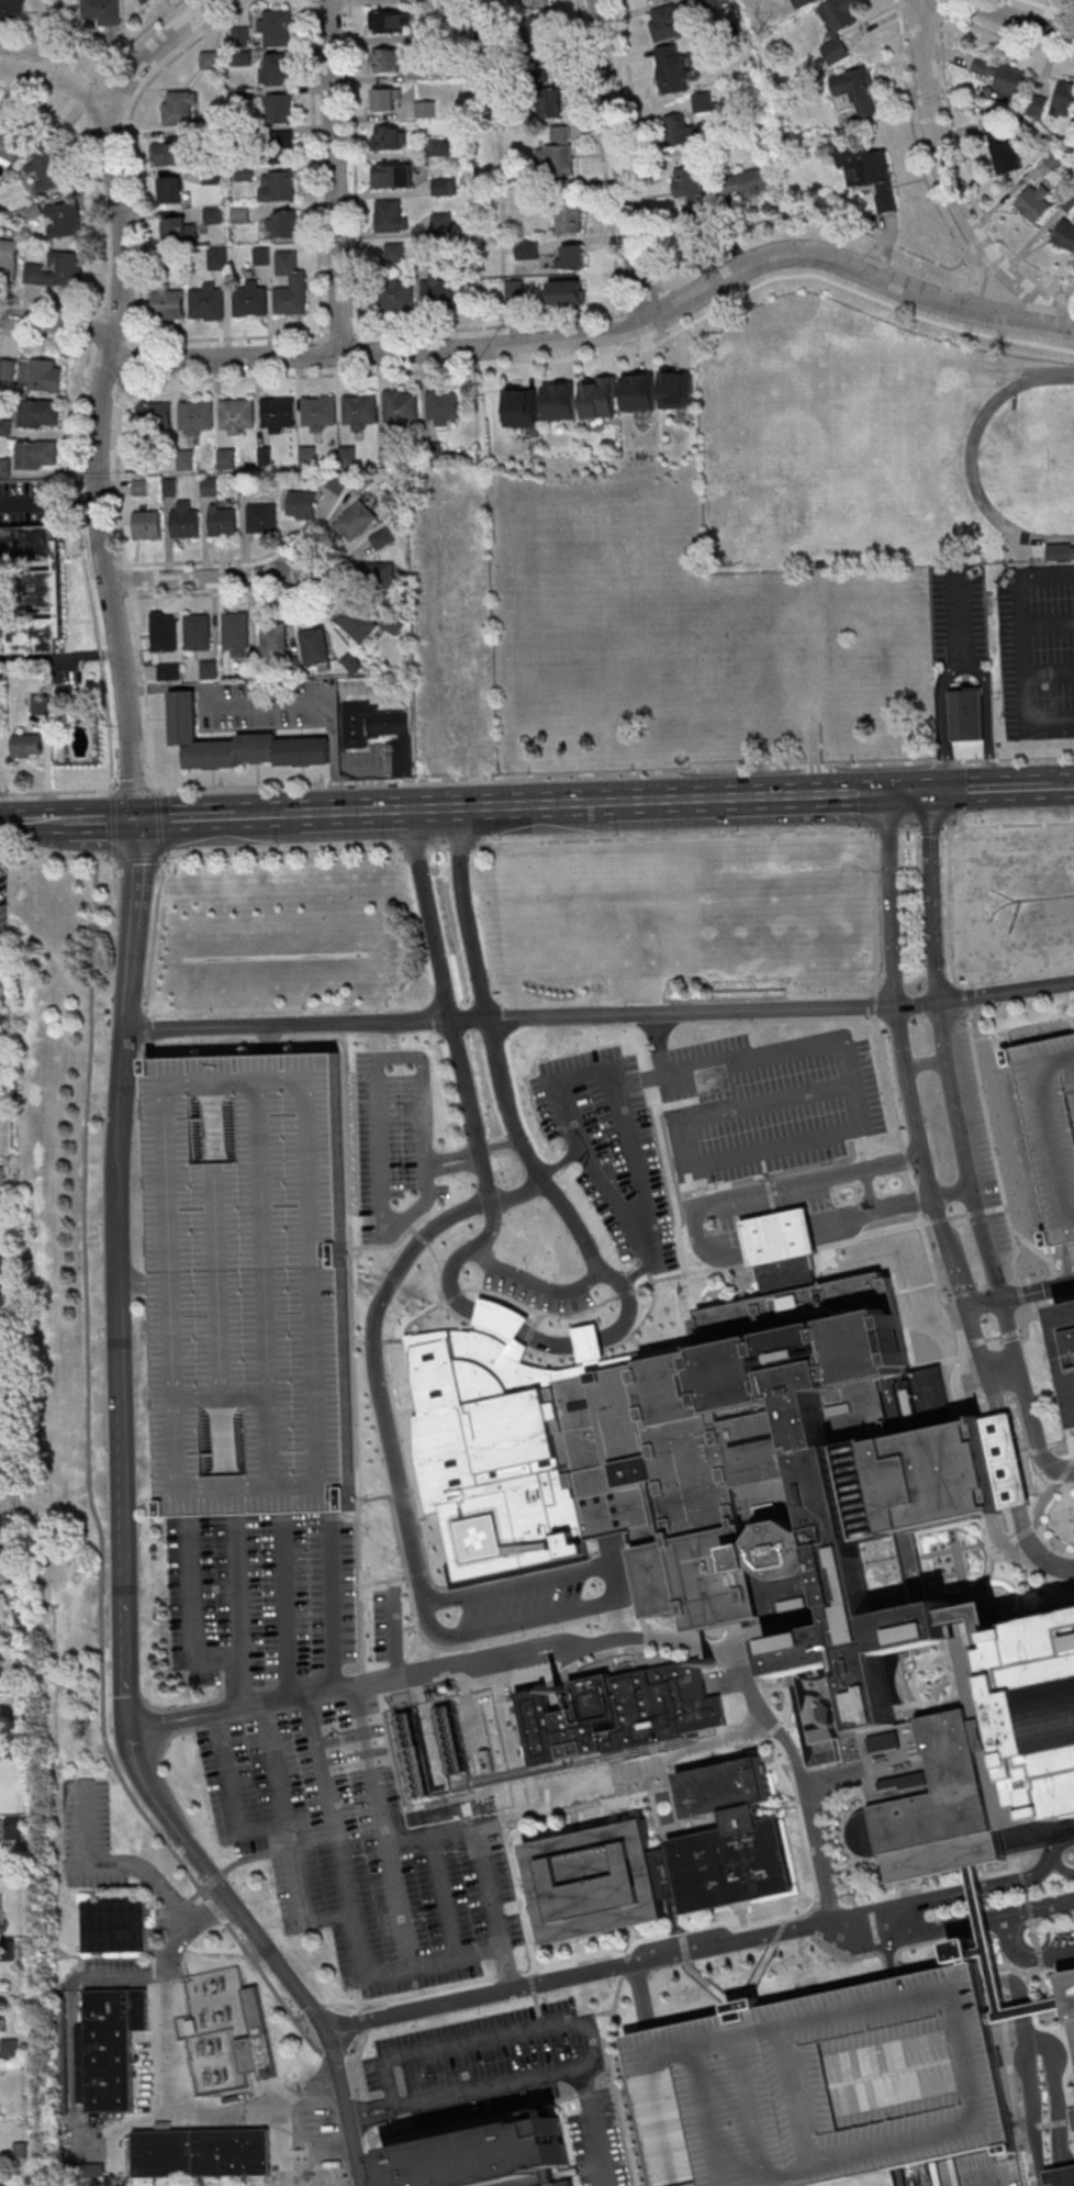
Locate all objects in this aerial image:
building: (146, 1)
building: (537, 2)
building: (801, 2)
building: (102, 12)
building: (13, 13)
road: (1018, 16)
building: (670, 21)
building: (390, 22)
building: (838, 25)
road: (974, 25)
building: (277, 29)
building: (539, 37)
road: (55, 41)
road: (158, 48)
road: (99, 53)
building: (388, 60)
road: (88, 66)
building: (278, 69)
building: (672, 69)
building: (422, 75)
building: (1003, 76)
road: (55, 80)
road: (77, 89)
building: (857, 90)
building: (546, 98)
building: (1065, 99)
building: (388, 100)
building: (703, 102)
building: (1038, 105)
road: (65, 108)
building: (180, 109)
building: (279, 109)
building: (681, 132)
building: (390, 137)
building: (13, 140)
building: (1002, 144)
building: (281, 145)
building: (438, 148)
building: (168, 154)
building: (558, 154)
road: (603, 158)
building: (1056, 158)
road: (622, 160)
road: (314, 167)
building: (46, 168)
building: (870, 172)
road: (337, 175)
building: (394, 177)
road: (93, 179)
road: (952, 182)
building: (687, 183)
building: (746, 185)
building: (278, 187)
building: (445, 187)
building: (172, 191)
building: (562, 191)
road: (982, 203)
building: (1037, 203)
building: (213, 215)
building: (391, 216)
building: (693, 216)
building: (570, 219)
building: (64, 220)
building: (443, 223)
building: (287, 224)
building: (180, 230)
road: (122, 233)
building: (1065, 235)
building: (527, 249)
building: (424, 250)
building: (395, 253)
building: (262, 255)
road: (143, 256)
building: (573, 258)
building: (9, 259)
building: (217, 259)
building: (172, 260)
building: (57, 270)
road: (981, 285)
building: (291, 286)
building: (516, 289)
building: (568, 292)
building: (396, 293)
building: (439, 293)
building: (251, 300)
building: (208, 302)
building: (168, 303)
road: (56, 325)
road: (93, 330)
road: (379, 331)
road: (607, 335)
building: (10, 373)
building: (45, 377)
building: (680, 390)
building: (641, 393)
building: (601, 398)
building: (562, 402)
building: (402, 408)
building: (524, 408)
building: (444, 409)
building: (360, 410)
building: (320, 412)
building: (40, 413)
building: (155, 415)
building: (237, 415)
building: (279, 415)
building: (197, 416)
building: (4, 427)
road: (77, 447)
road: (967, 453)
building: (37, 455)
park: (1061, 457)
building: (4, 469)
road: (99, 472)
building: (471, 476)
building: (339, 483)
building: (363, 484)
road: (49, 504)
building: (303, 505)
road: (63, 528)
road: (297, 555)
road: (337, 571)
road: (88, 577)
road: (197, 578)
road: (130, 580)
building: (34, 590)
parking lot: (961, 617)
road: (1050, 621)
road: (964, 622)
road: (1027, 625)
road: (71, 639)
parking lot: (1038, 653)
road: (60, 658)
road: (1051, 672)
road: (105, 689)
road: (147, 692)
road: (127, 700)
road: (273, 706)
road: (948, 720)
road: (988, 720)
road: (1052, 721)
road: (536, 776)
road: (961, 787)
road: (991, 788)
traffic signals: (908, 791)
road: (757, 796)
road: (523, 805)
road: (367, 811)
road: (265, 813)
road: (221, 814)
road: (170, 815)
traffic signals: (135, 819)
road: (963, 819)
road: (26, 821)
road: (124, 821)
road: (83, 822)
road: (160, 822)
road: (113, 824)
road: (1009, 825)
road: (932, 827)
road: (911, 829)
road: (888, 830)
road: (136, 837)
road: (518, 841)
road: (138, 855)
road: (56, 857)
road: (935, 893)
road: (893, 895)
road: (953, 908)
road: (877, 911)
road: (428, 914)
road: (155, 933)
road: (134, 943)
road: (1071, 997)
road: (967, 1000)
road: (877, 1004)
road: (601, 1014)
road: (146, 1029)
street lamp: (477, 1035)
road: (998, 1035)
road: (268, 1041)
road: (239, 1044)
road: (662, 1044)
road: (824, 1044)
road: (928, 1063)
road: (583, 1074)
road: (891, 1083)
road: (751, 1105)
street lamp: (492, 1109)
parking lot: (794, 1112)
building: (1051, 1127)
parking lot: (1051, 1127)
parking lot: (395, 1141)
road: (775, 1148)
road: (995, 1148)
street lamp: (559, 1149)
parking lot: (614, 1149)
road: (473, 1150)
road: (910, 1159)
road: (456, 1168)
road: (784, 1171)
road: (914, 1178)
street lamp: (920, 1178)
street lamp: (508, 1182)
road: (700, 1184)
road: (674, 1187)
road: (771, 1194)
road: (921, 1200)
street lamp: (839, 1204)
road: (414, 1211)
road: (988, 1211)
road: (961, 1216)
road: (924, 1218)
road: (942, 1220)
road: (928, 1223)
road: (892, 1228)
road: (422, 1236)
road: (398, 1243)
road: (704, 1243)
road: (989, 1249)
building: (783, 1250)
road: (1039, 1250)
road: (783, 1251)
road: (869, 1251)
road: (844, 1261)
road: (1070, 1264)
road: (735, 1268)
road: (1040, 1278)
road: (630, 1280)
road: (535, 1284)
road: (141, 1285)
road: (735, 1285)
building: (255, 1287)
parking lot: (255, 1287)
road: (602, 1289)
road: (917, 1289)
road: (984, 1290)
road: (1020, 1295)
road: (1023, 1295)
road: (951, 1297)
building: (0, 1298)
road: (684, 1300)
road: (966, 1302)
road: (951, 1305)
road: (1037, 1305)
road: (450, 1307)
road: (526, 1307)
road: (604, 1308)
building: (794, 1309)
building: (503, 1319)
street lamp: (993, 1319)
road: (517, 1320)
road: (413, 1323)
building: (1069, 1327)
road: (353, 1336)
building: (593, 1337)
road: (995, 1338)
road: (359, 1340)
road: (376, 1341)
building: (806, 1360)
road: (578, 1361)
road: (1005, 1370)
building: (676, 1388)
road: (929, 1388)
road: (88, 1394)
building: (0, 1446)
building: (612, 1448)
road: (1034, 1451)
building: (493, 1458)
building: (1007, 1462)
building: (724, 1464)
road: (410, 1471)
building: (939, 1476)
building: (873, 1492)
road: (402, 1493)
road: (376, 1498)
road: (145, 1502)
road: (1041, 1513)
flagpole: (1073, 1523)
helipad: (484, 1538)
road: (413, 1542)
building: (785, 1549)
road: (403, 1555)
road: (127, 1562)
road: (1016, 1562)
road: (419, 1574)
building: (701, 1577)
building: (854, 1587)
parking lot: (262, 1597)
road: (333, 1602)
road: (286, 1607)
road: (193, 1613)
road: (238, 1613)
building: (981, 1616)
road: (623, 1617)
road: (393, 1636)
chimney: (711, 1663)
road: (343, 1689)
road: (769, 1691)
chimney: (558, 1692)
road: (758, 1702)
road: (788, 1704)
building: (838, 1707)
building: (1041, 1708)
building: (617, 1711)
road: (775, 1729)
road: (723, 1747)
building: (413, 1753)
road: (786, 1777)
building: (581, 1782)
building: (720, 1788)
building: (937, 1794)
road: (234, 1797)
building: (502, 1799)
road: (591, 1805)
road: (777, 1807)
building: (426, 1815)
road: (577, 1821)
road: (89, 1822)
road: (381, 1827)
building: (13, 1828)
road: (1044, 1828)
parking lot: (90, 1834)
road: (289, 1838)
parking lot: (361, 1848)
road: (1018, 1848)
road: (256, 1856)
road: (481, 1865)
road: (1061, 1866)
road: (141, 1872)
building: (652, 1874)
road: (217, 1878)
road: (1023, 1878)
road: (937, 1885)
road: (994, 1886)
road: (1027, 1893)
road: (518, 1894)
road: (192, 1896)
road: (443, 1897)
road: (351, 1904)
road: (834, 1904)
road: (514, 1907)
building: (980, 1907)
road: (1030, 1908)
road: (217, 1910)
road: (857, 1910)
road: (743, 1915)
road: (679, 1916)
road: (1050, 1917)
road: (981, 1920)
road: (893, 1925)
building: (118, 1927)
road: (1010, 1927)
road: (779, 1930)
road: (809, 1931)
road: (682, 1932)
road: (1036, 1934)
road: (661, 1937)
parking lot: (1062, 1938)
road: (933, 1942)
road: (183, 1943)
road: (853, 1944)
road: (684, 1947)
road: (217, 1949)
building: (963, 1952)
road: (858, 1955)
road: (1025, 1958)
road: (1041, 1959)
road: (892, 1960)
road: (624, 1964)
road: (758, 1971)
road: (1052, 1972)
road: (575, 1973)
road: (1004, 1979)
road: (533, 1983)
road: (707, 1983)
road: (270, 1984)
building: (1071, 1987)
road: (641, 1996)
road: (736, 1996)
road: (1049, 1998)
road: (1015, 2001)
road: (360, 2007)
road: (315, 2008)
road: (540, 2010)
road: (597, 2015)
road: (301, 2018)
road: (362, 2020)
road: (1041, 2026)
power substation: (225, 2030)
building: (255, 2038)
road: (1038, 2041)
road: (470, 2044)
building: (114, 2046)
road: (317, 2048)
road: (1009, 2048)
road: (334, 2053)
road: (351, 2059)
road: (357, 2064)
road: (177, 2074)
parking lot: (507, 2077)
road: (508, 2081)
road: (613, 2081)
building: (823, 2085)
parking lot: (823, 2085)
road: (369, 2104)
road: (345, 2108)
road: (1021, 2109)
road: (366, 2112)
road: (493, 2113)
road: (372, 2116)
road: (1018, 2117)
road: (1072, 2121)
road: (1060, 2123)
road: (1049, 2126)
road: (591, 2127)
road: (1032, 2127)
building: (204, 2153)
road: (1031, 2155)
road: (376, 2156)
building: (483, 2156)
road: (3, 2164)
road: (984, 2167)
road: (592, 2168)
building: (548, 2176)
building: (1062, 2177)
building: (564, 2184)

